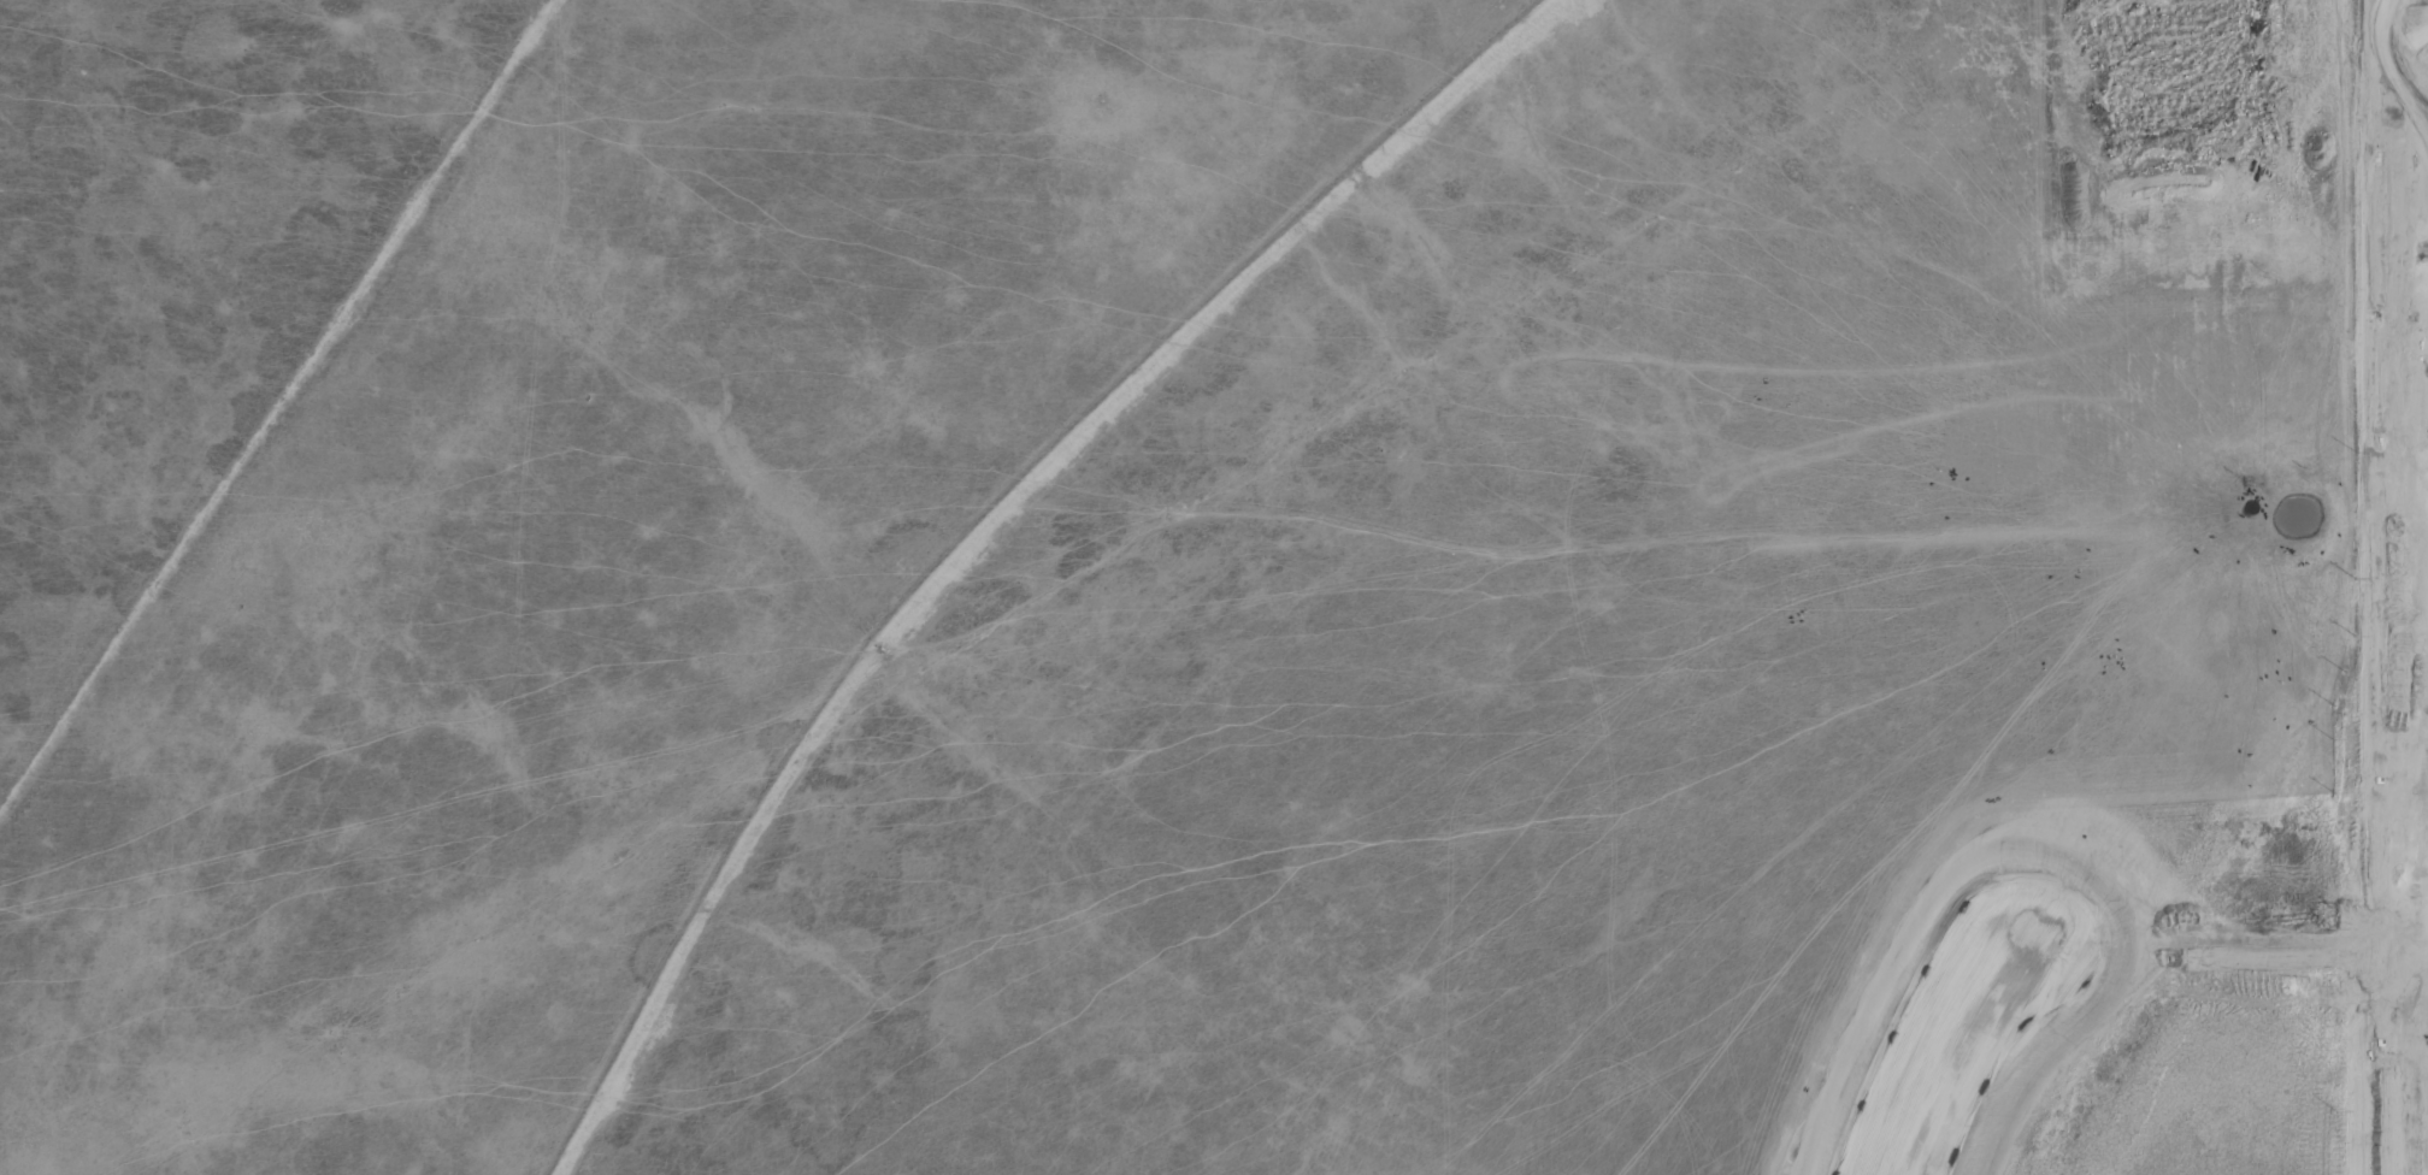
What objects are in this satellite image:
road: (2376, 587)

